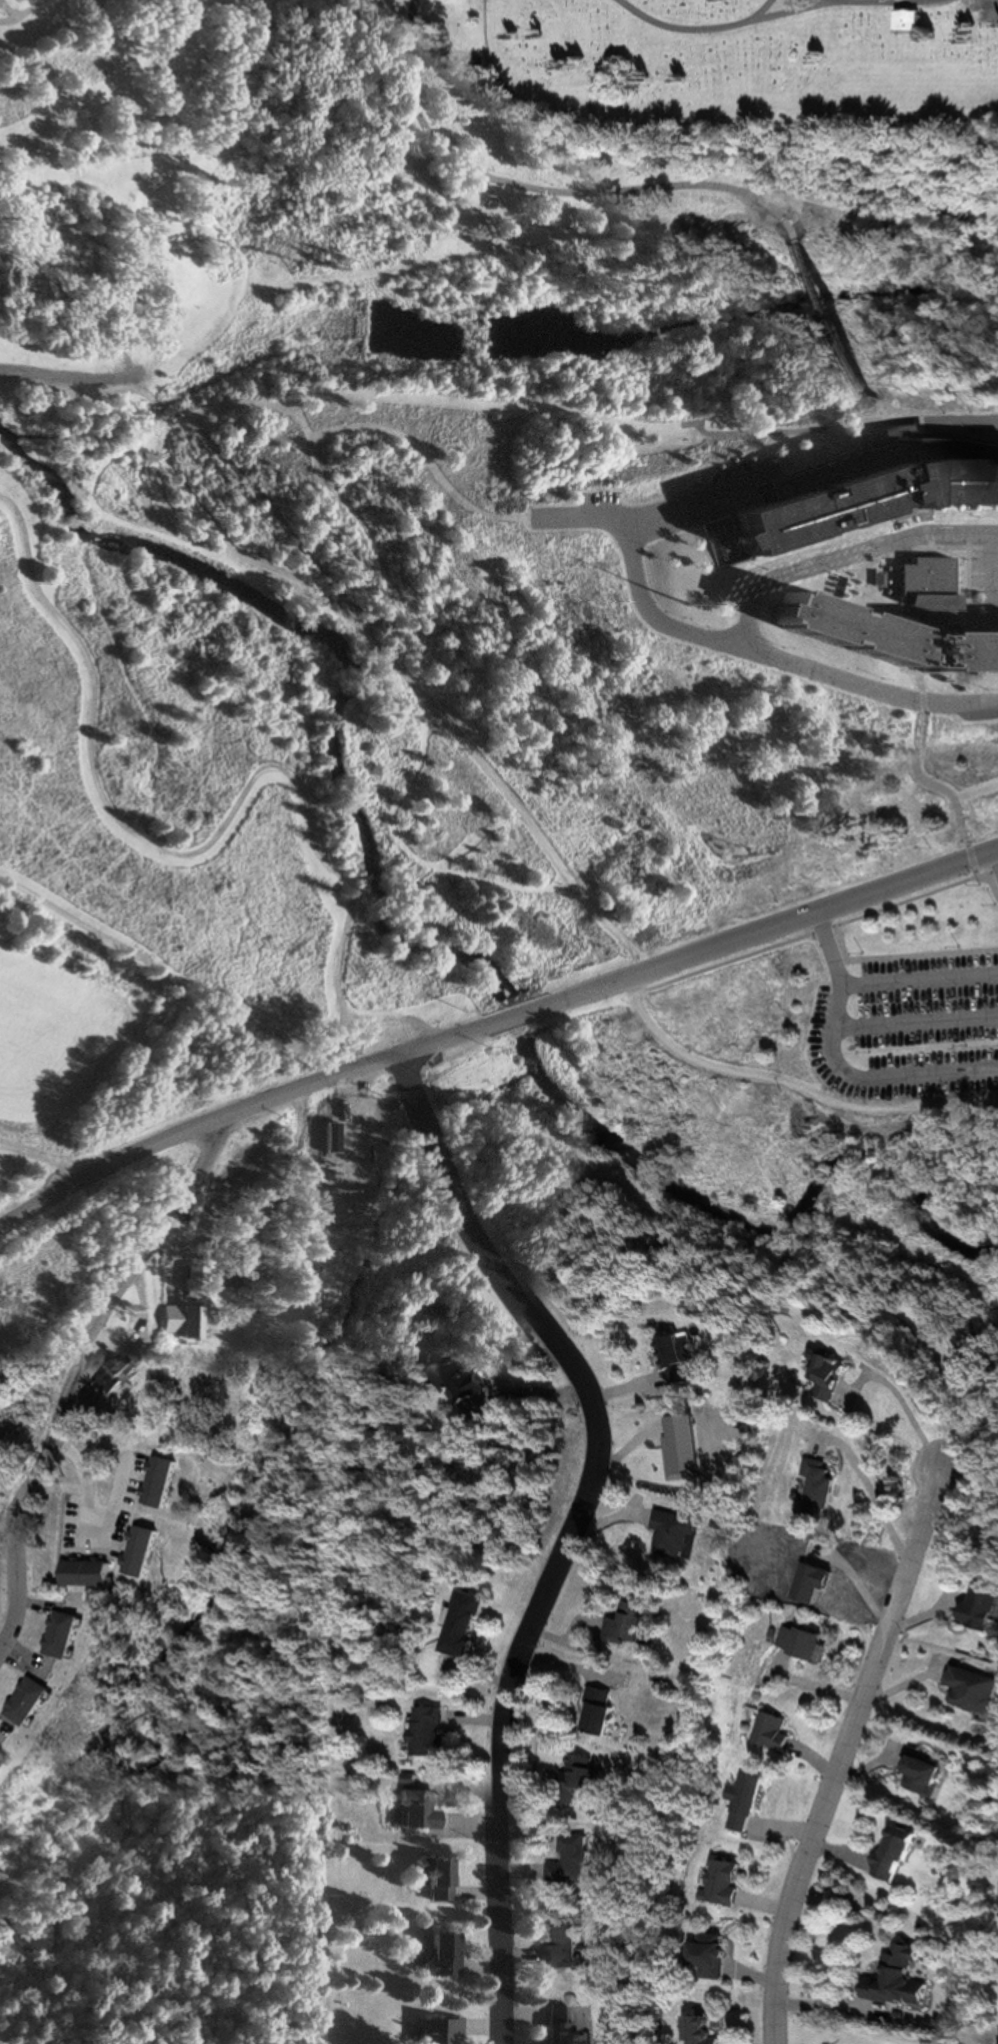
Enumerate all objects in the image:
building: (21, 0)
road: (841, 0)
building: (15, 1)
road: (762, 10)
road: (6, 11)
road: (21, 13)
road: (778, 15)
building: (916, 21)
park: (758, 51)
road: (543, 190)
road: (881, 214)
road: (838, 316)
road: (844, 399)
road: (525, 417)
road: (927, 427)
building: (854, 489)
road: (648, 516)
road: (934, 521)
road: (928, 545)
road: (990, 572)
parking lot: (983, 573)
road: (764, 603)
road: (971, 608)
road: (344, 617)
road: (744, 617)
road: (649, 620)
building: (897, 622)
road: (923, 673)
road: (919, 694)
road: (304, 818)
park: (384, 830)
road: (972, 853)
road: (994, 880)
road: (760, 930)
road: (816, 932)
road: (903, 957)
road: (919, 980)
road: (512, 1015)
road: (916, 1021)
road: (393, 1022)
parking lot: (909, 1027)
road: (951, 1046)
road: (837, 1067)
road: (792, 1083)
road: (244, 1106)
building: (332, 1133)
road: (44, 1155)
building: (231, 1234)
road: (101, 1311)
building: (187, 1321)
building: (678, 1357)
building: (118, 1368)
building: (831, 1375)
building: (458, 1381)
building: (820, 1488)
road: (567, 1525)
building: (676, 1536)
building: (182, 1552)
road: (12, 1567)
building: (983, 1607)
building: (461, 1624)
building: (632, 1624)
building: (61, 1635)
building: (800, 1642)
building: (977, 1690)
building: (27, 1701)
building: (601, 1712)
building: (427, 1730)
building: (771, 1732)
road: (841, 1753)
building: (2, 1757)
building: (928, 1773)
building: (579, 1779)
building: (741, 1801)
building: (419, 1810)
building: (899, 1852)
building: (569, 1861)
building: (439, 1877)
building: (722, 1882)
building: (561, 1949)
building: (442, 1955)
building: (712, 1956)
building: (902, 1978)
building: (561, 2025)
building: (440, 2030)
building: (705, 2031)

